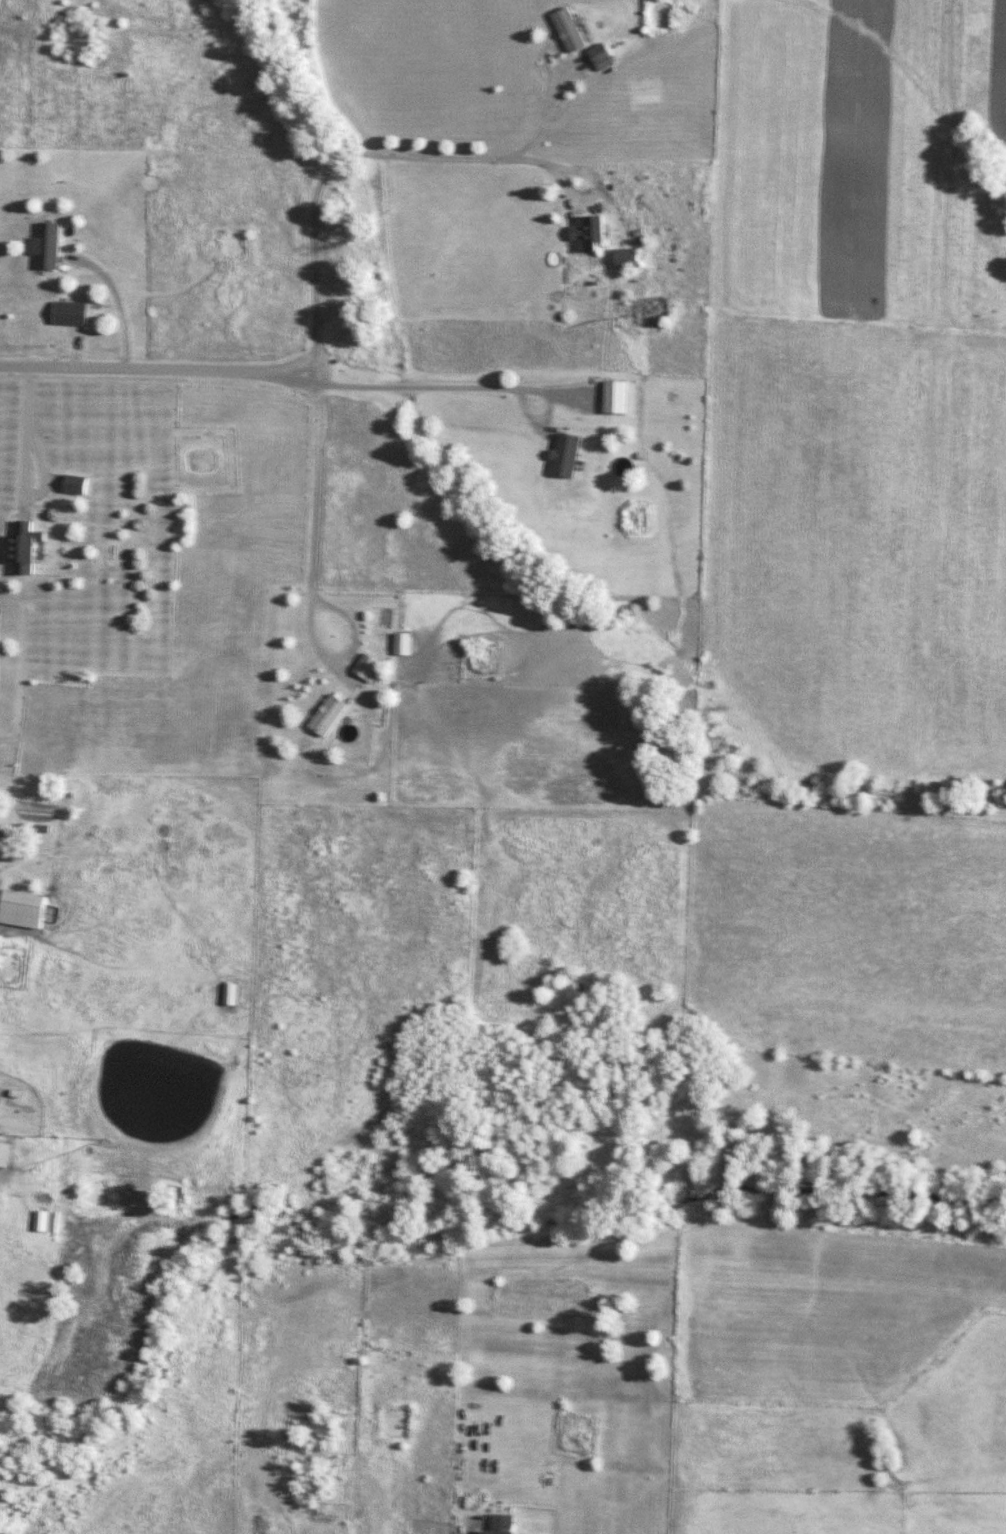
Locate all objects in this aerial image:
building: (576, 29)
building: (607, 56)
road: (557, 67)
road: (532, 164)
road: (596, 183)
building: (597, 233)
building: (54, 246)
building: (634, 259)
road: (317, 262)
road: (117, 302)
building: (76, 313)
road: (154, 369)
road: (437, 388)
building: (621, 397)
road: (28, 443)
building: (572, 455)
building: (81, 485)
building: (32, 550)
road: (355, 639)
building: (370, 666)
building: (333, 715)
road: (140, 848)
road: (29, 860)
building: (29, 910)
building: (7, 1155)
building: (509, 1524)
road: (469, 1529)

